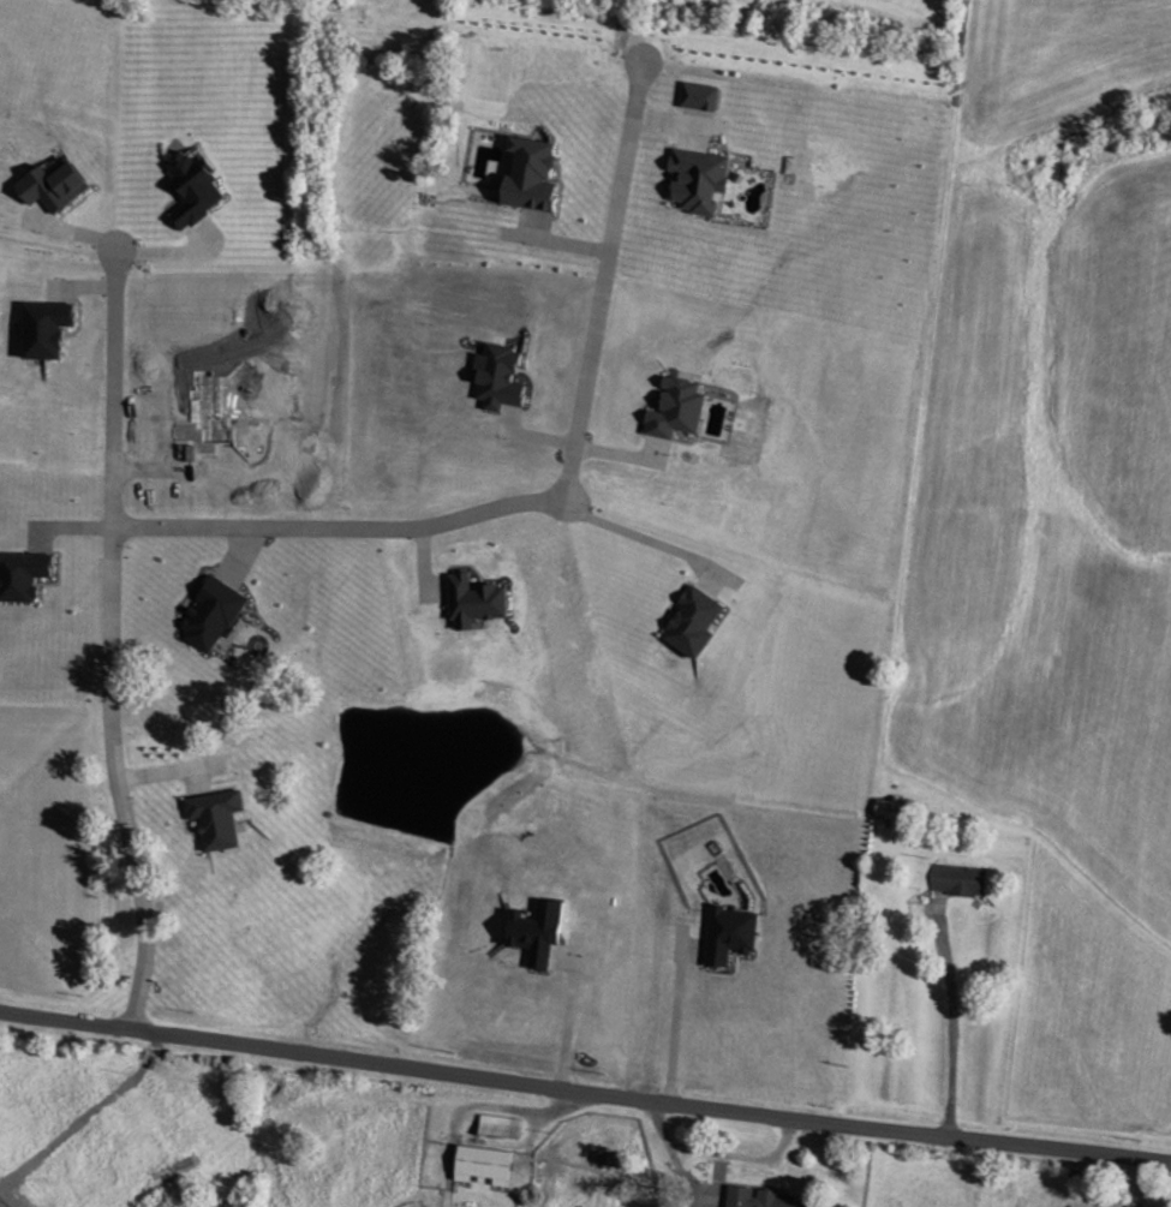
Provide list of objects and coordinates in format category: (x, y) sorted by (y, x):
road: (603, 282)
road: (342, 532)
road: (631, 540)
building: (271, 592)
road: (107, 640)
building: (227, 707)
building: (149, 743)
building: (263, 749)
building: (894, 811)
building: (960, 879)
road: (950, 1014)
road: (584, 1092)
building: (501, 1125)
building: (486, 1165)
building: (769, 1197)

